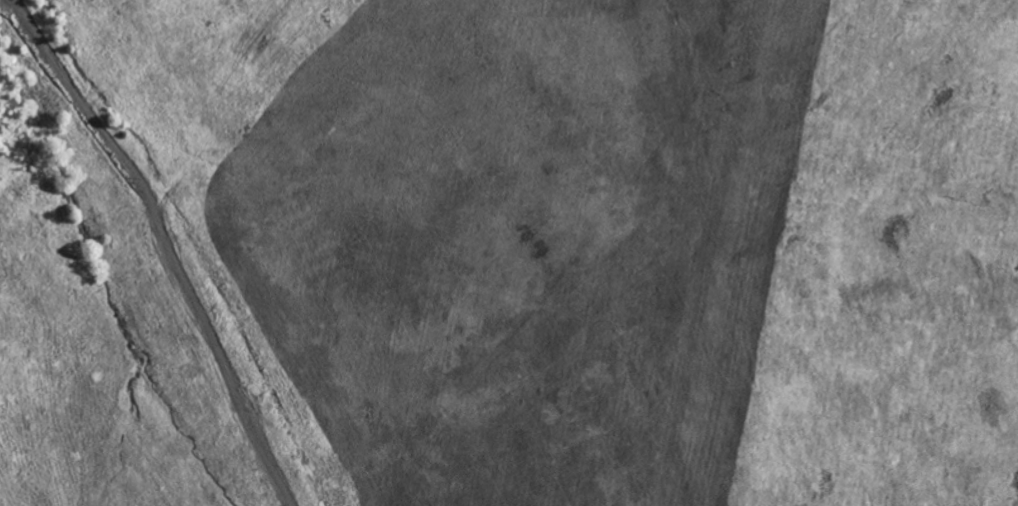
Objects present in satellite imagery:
road: (151, 253)

